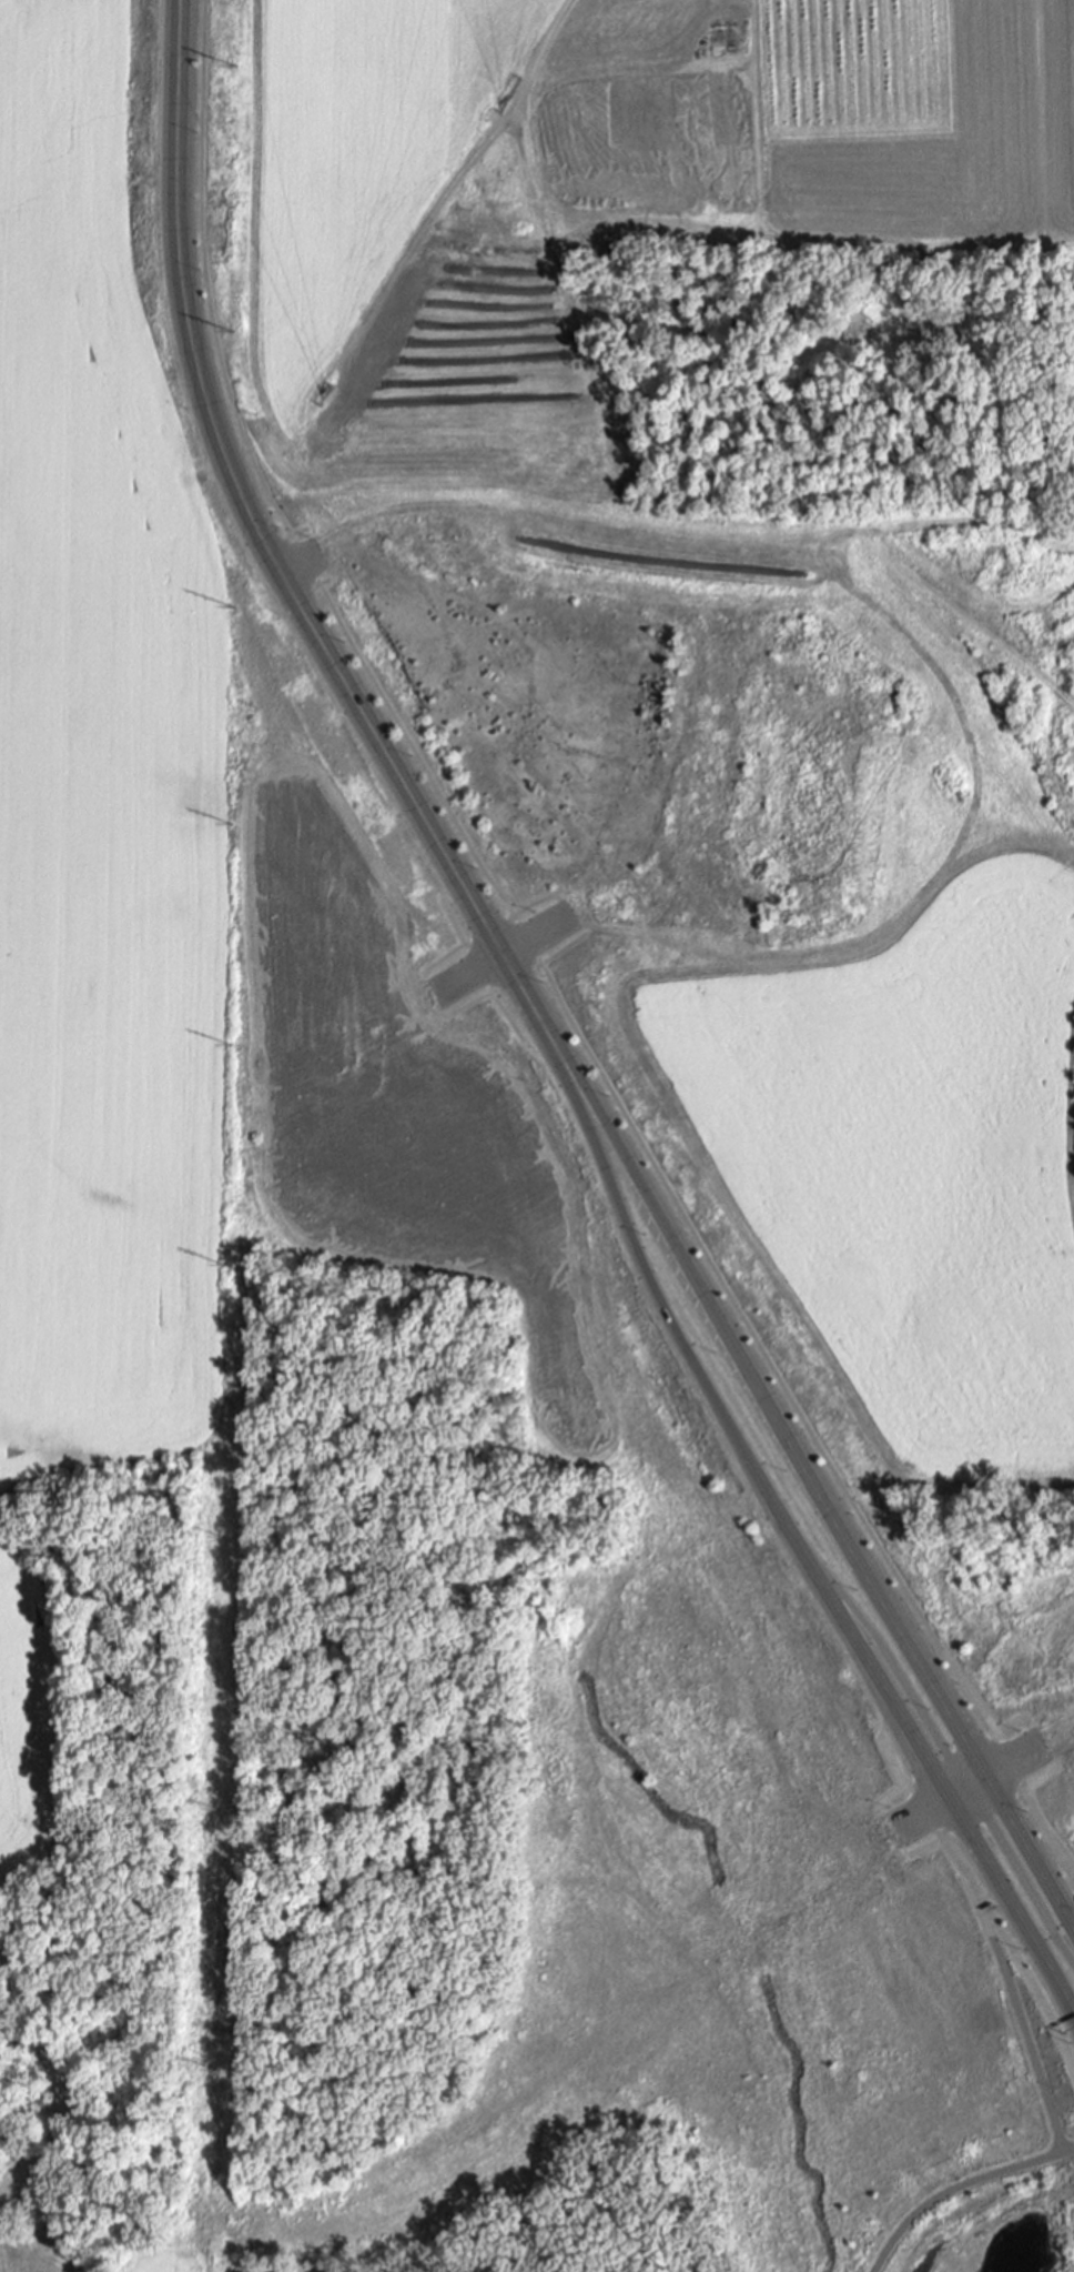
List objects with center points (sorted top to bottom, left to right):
road: (537, 57)
power tower: (237, 64)
road: (209, 274)
power tower: (236, 331)
building: (971, 359)
road: (206, 475)
road: (284, 537)
road: (303, 560)
road: (272, 563)
road: (298, 564)
road: (308, 589)
power tower: (235, 605)
crop: (731, 654)
road: (412, 752)
power tower: (230, 824)
crop: (100, 848)
road: (535, 903)
road: (450, 922)
road: (487, 929)
road: (527, 941)
road: (563, 949)
road: (503, 957)
road: (444, 959)
road: (477, 968)
road: (517, 978)
road: (468, 1005)
road: (507, 1015)
power tower: (226, 1044)
power tower: (224, 1265)
road: (767, 1351)
road: (771, 1404)
road: (730, 1429)
power tower: (223, 1538)
road: (898, 1669)
road: (946, 1681)
road: (999, 1735)
road: (884, 1742)
road: (1013, 1763)
road: (975, 1781)
road: (909, 1785)
road: (1032, 1789)
power tower: (222, 1811)
road: (925, 1813)
road: (1050, 1833)
road: (1022, 1841)
road: (941, 1842)
road: (1044, 1852)
road: (1066, 1857)
road: (1020, 1874)
road: (992, 1888)
road: (1010, 1897)
road: (1013, 1949)
road: (1022, 2017)
power tower: (220, 2072)
building: (20, 2092)
road: (959, 2188)
park: (972, 2218)
building: (54, 2231)

